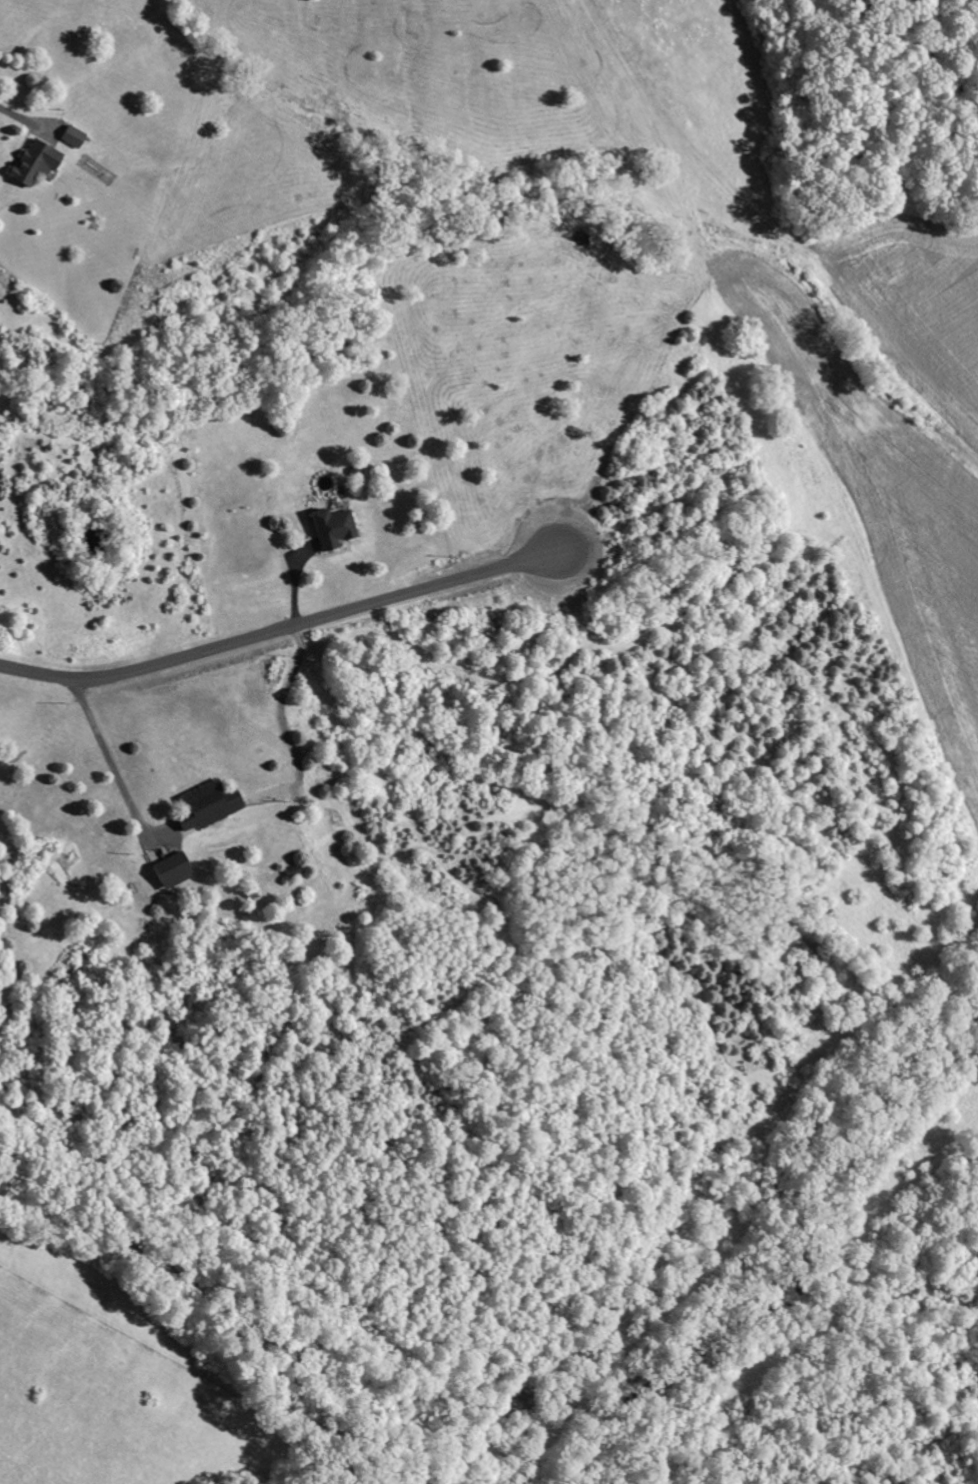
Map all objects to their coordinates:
building: (76, 137)
building: (39, 162)
building: (337, 528)
road: (282, 631)
road: (110, 762)
building: (212, 805)
building: (177, 870)

